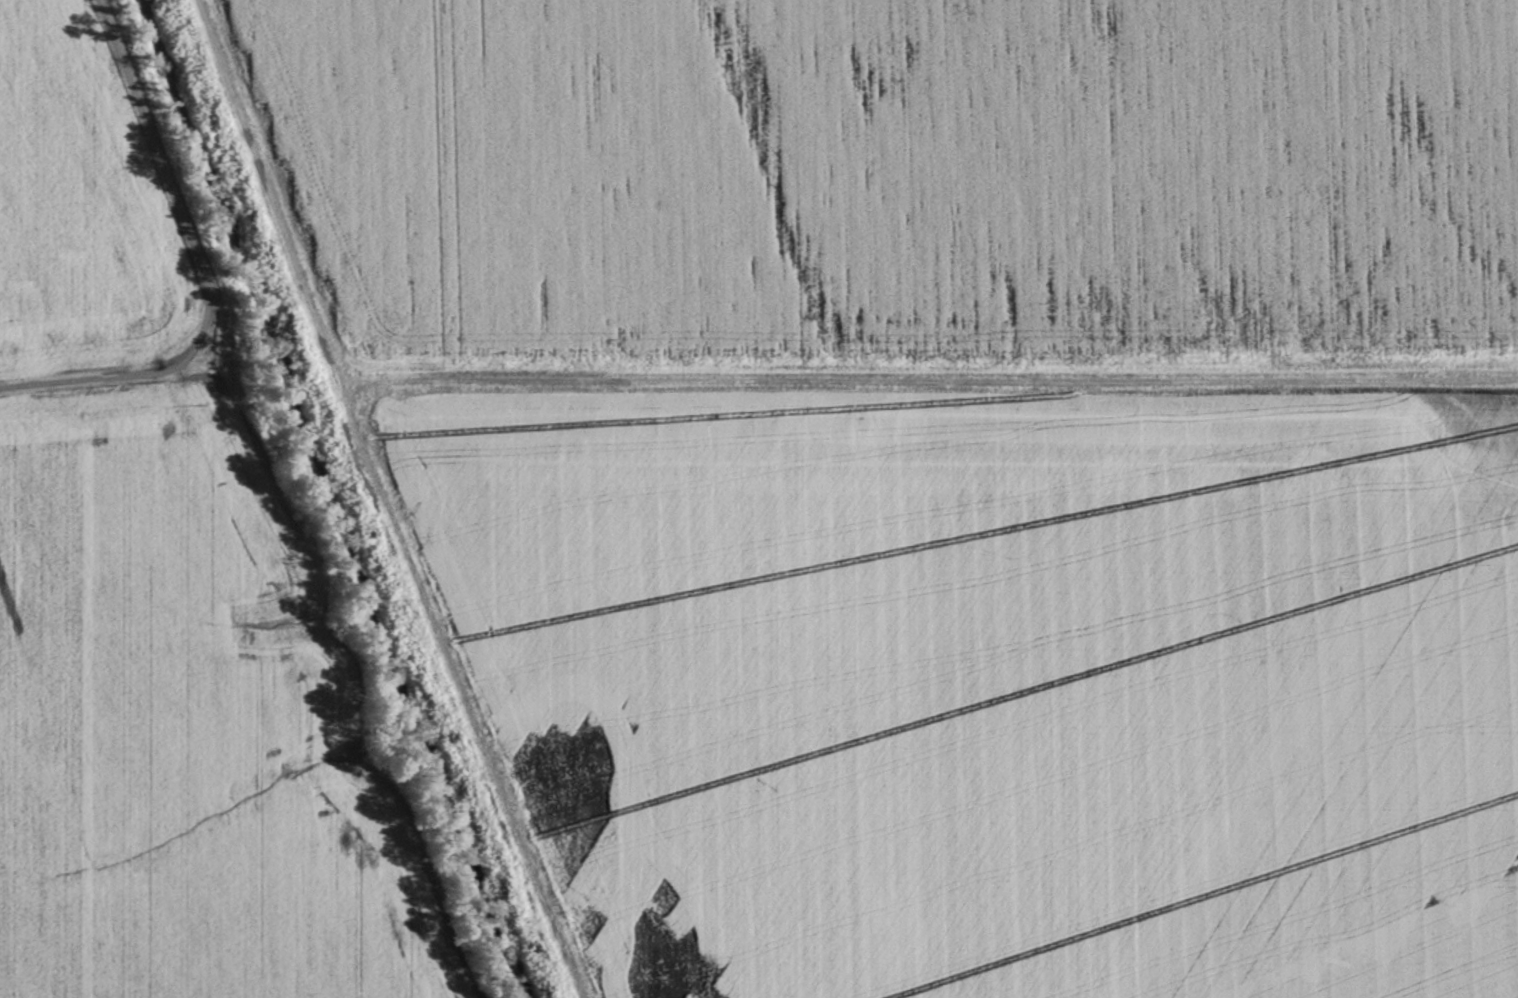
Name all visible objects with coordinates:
road: (206, 273)
crop: (191, 723)

